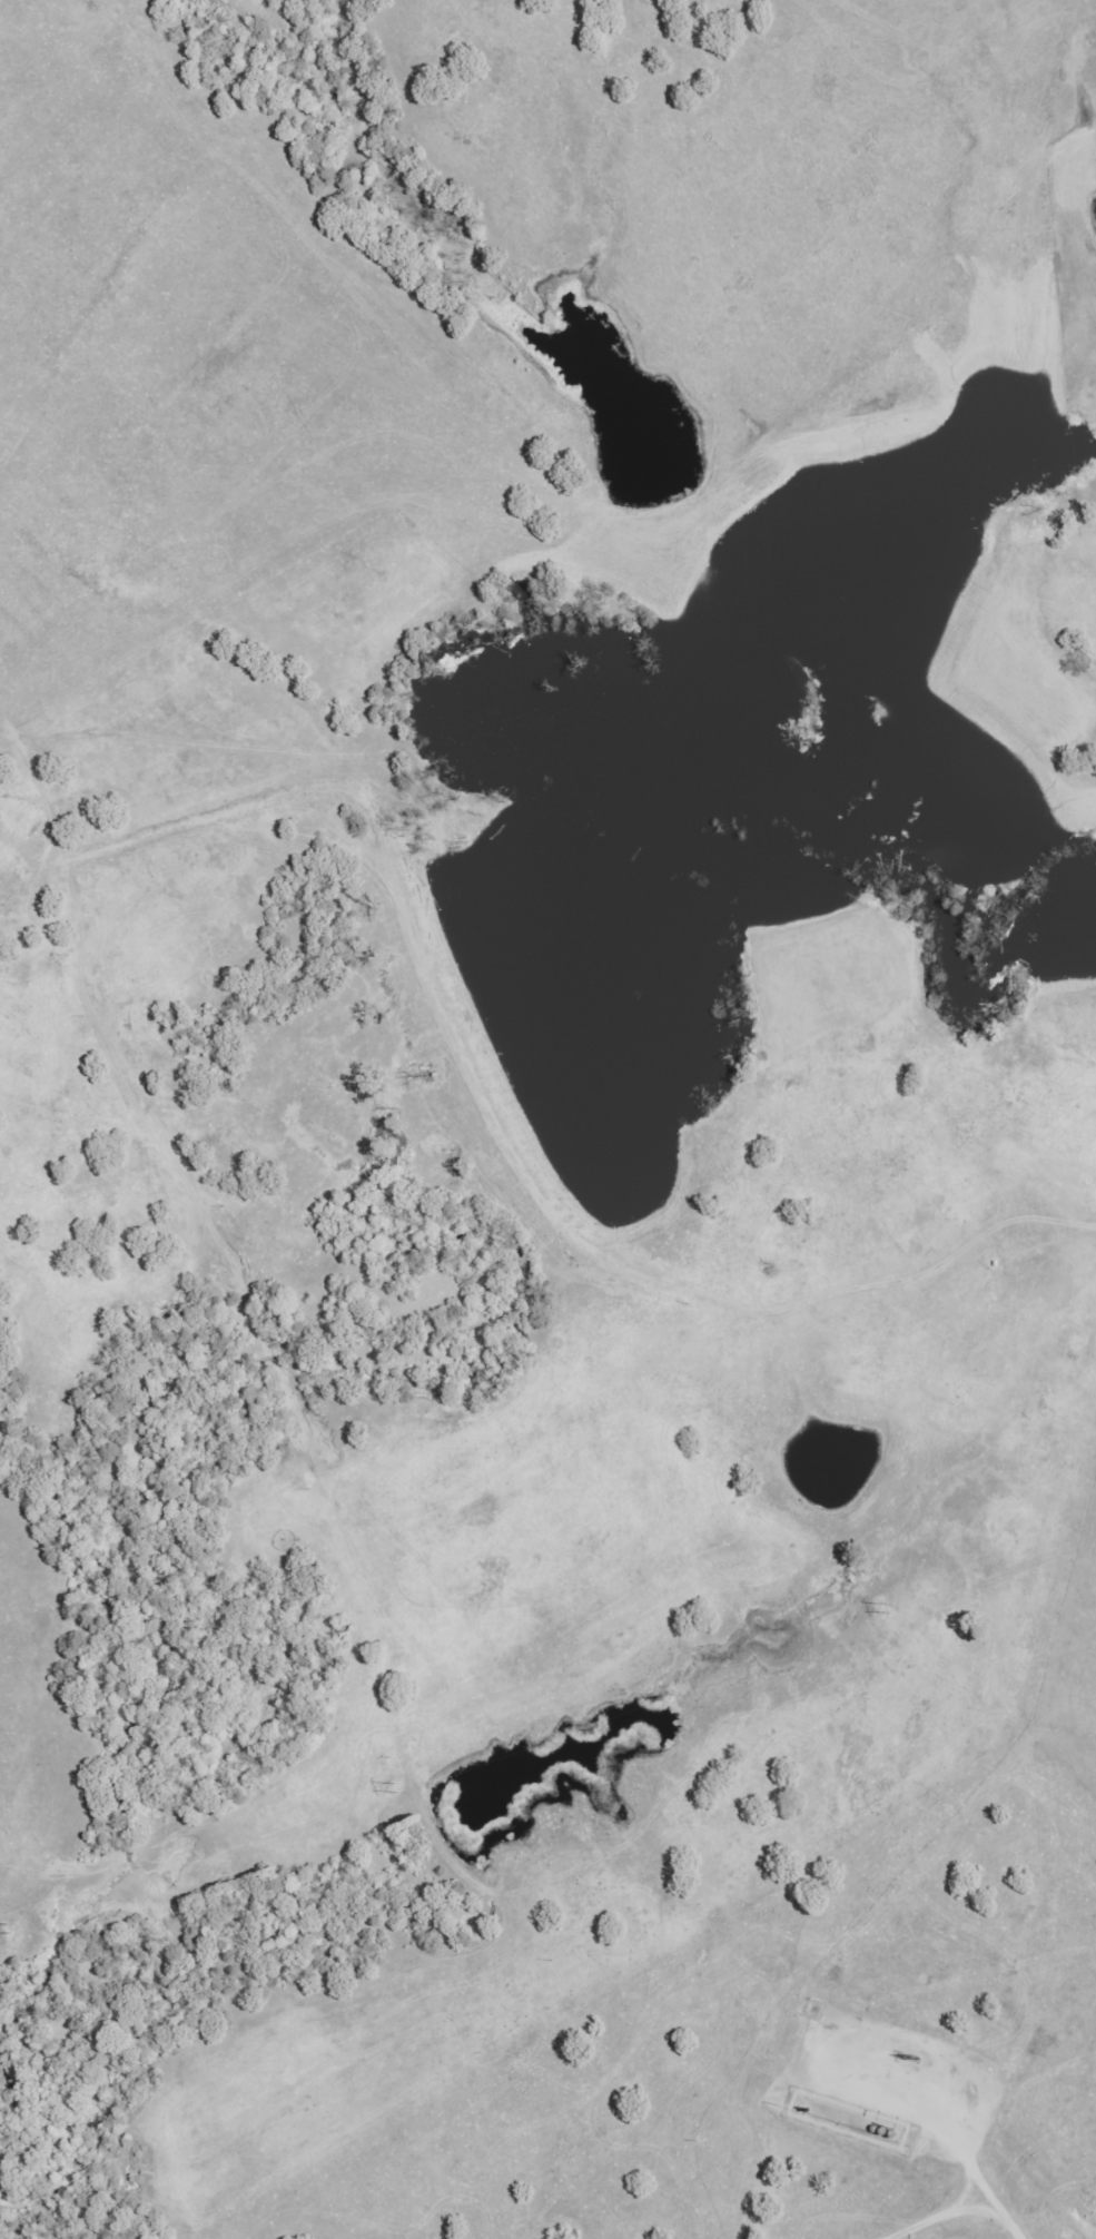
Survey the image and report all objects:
road: (1062, 1229)
power tower: (889, 1612)
power tower: (423, 1783)
power tower: (9, 1932)
road: (932, 2114)
road: (959, 2210)

